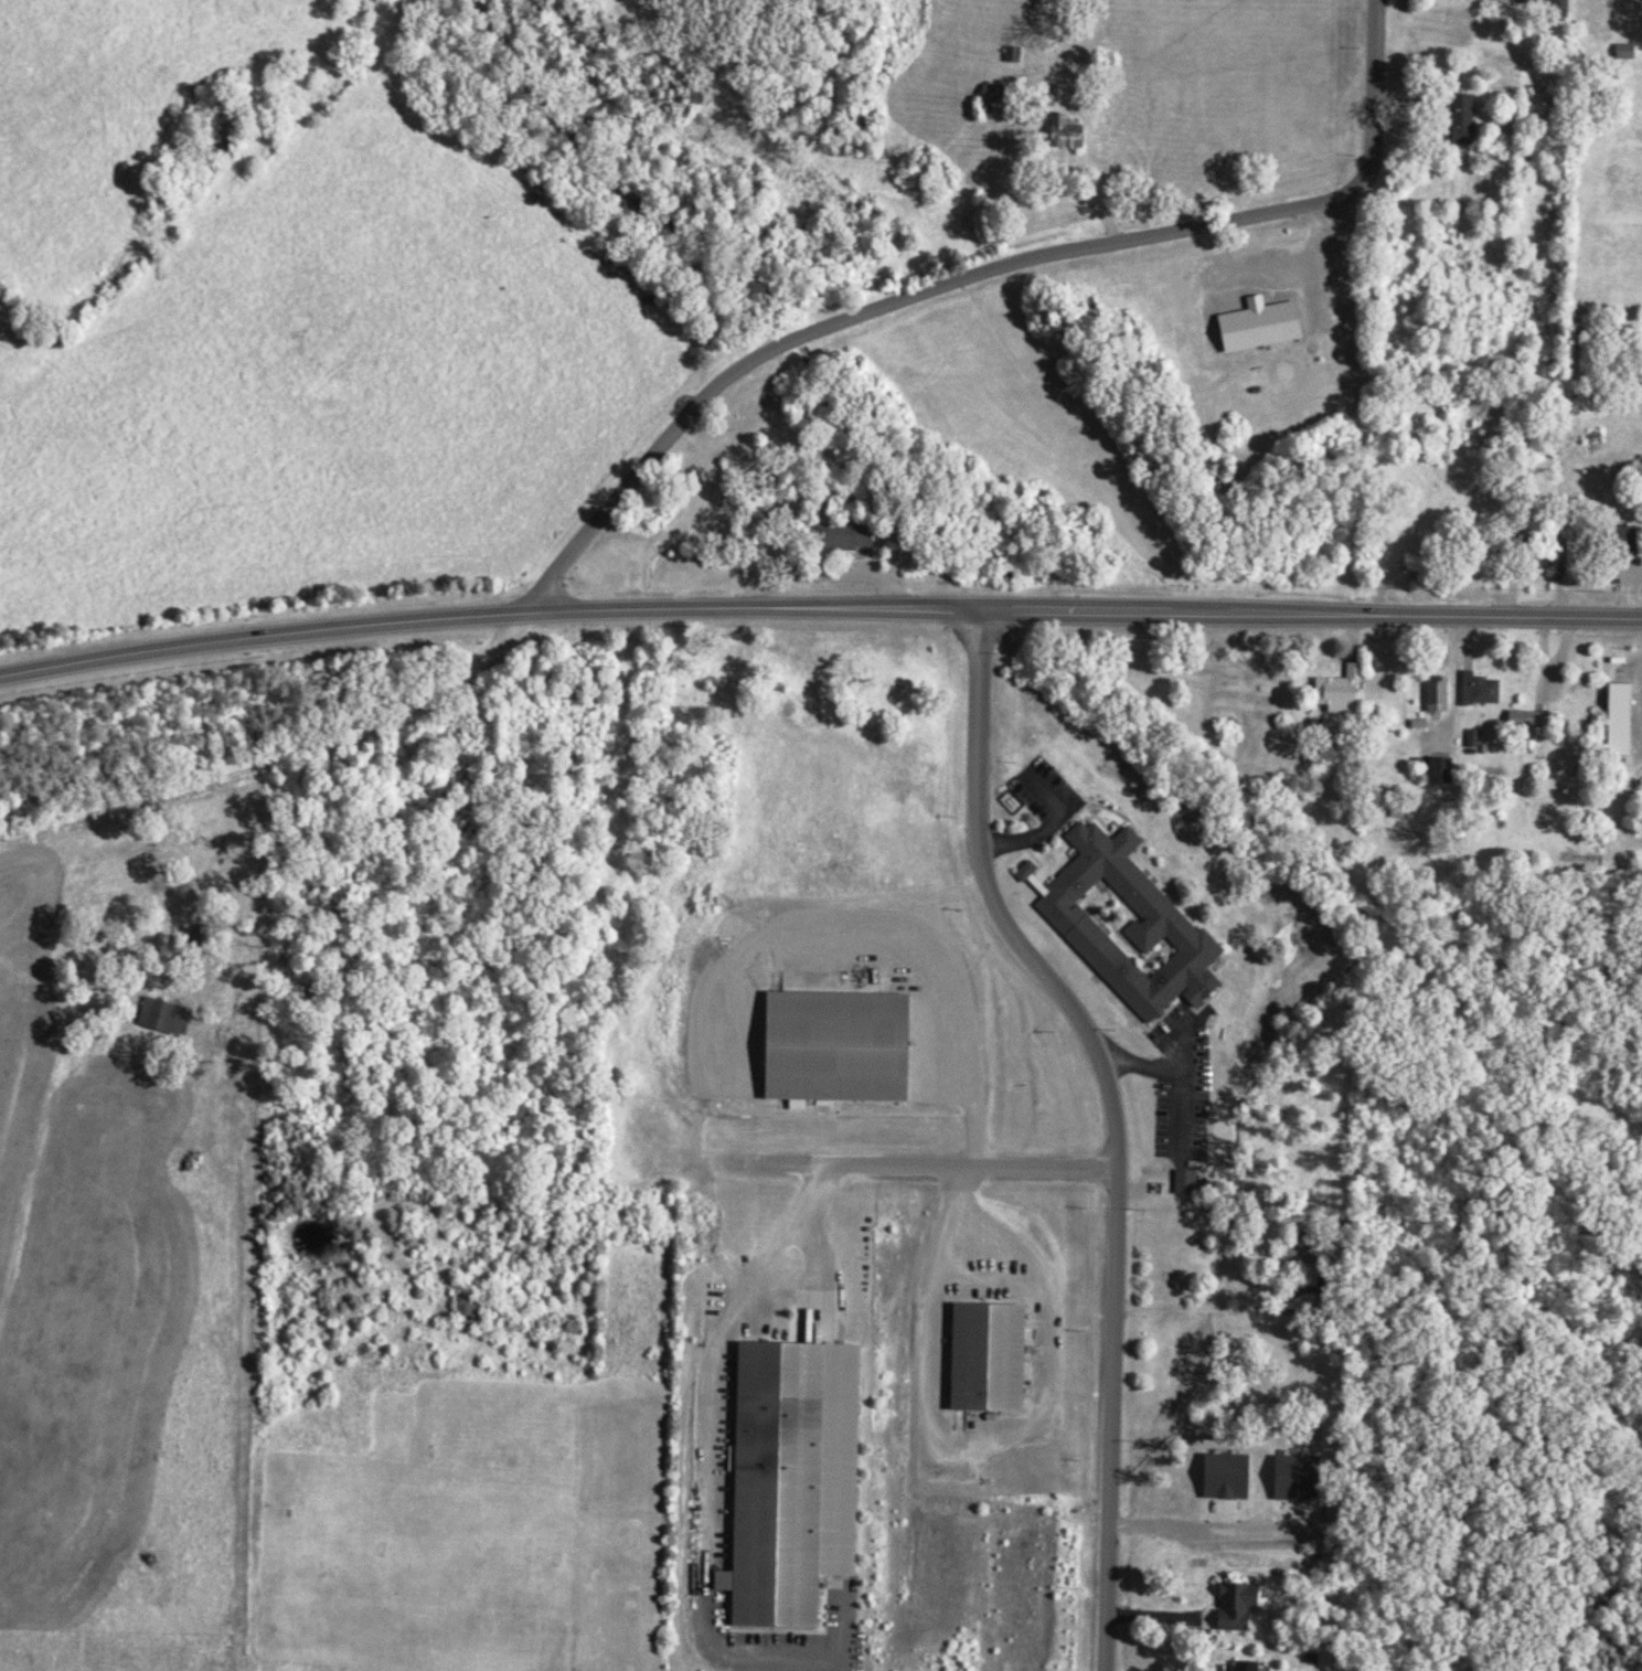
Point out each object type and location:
building: (1538, 1)
building: (1631, 51)
building: (1000, 99)
building: (1475, 110)
building: (1074, 134)
road: (973, 270)
building: (1270, 324)
building: (852, 536)
road: (818, 606)
building: (1485, 690)
building: (1343, 691)
building: (1443, 695)
building: (1533, 719)
building: (1629, 720)
building: (1478, 738)
road: (280, 756)
building: (1447, 770)
building: (1031, 871)
building: (1134, 925)
building: (171, 1015)
building: (846, 1047)
road: (1116, 1121)
building: (1192, 1181)
road: (750, 1287)
building: (473, 1309)
building: (996, 1358)
building: (1235, 1476)
building: (800, 1477)
building: (1301, 1478)
building: (1246, 1606)
building: (1248, 1667)

